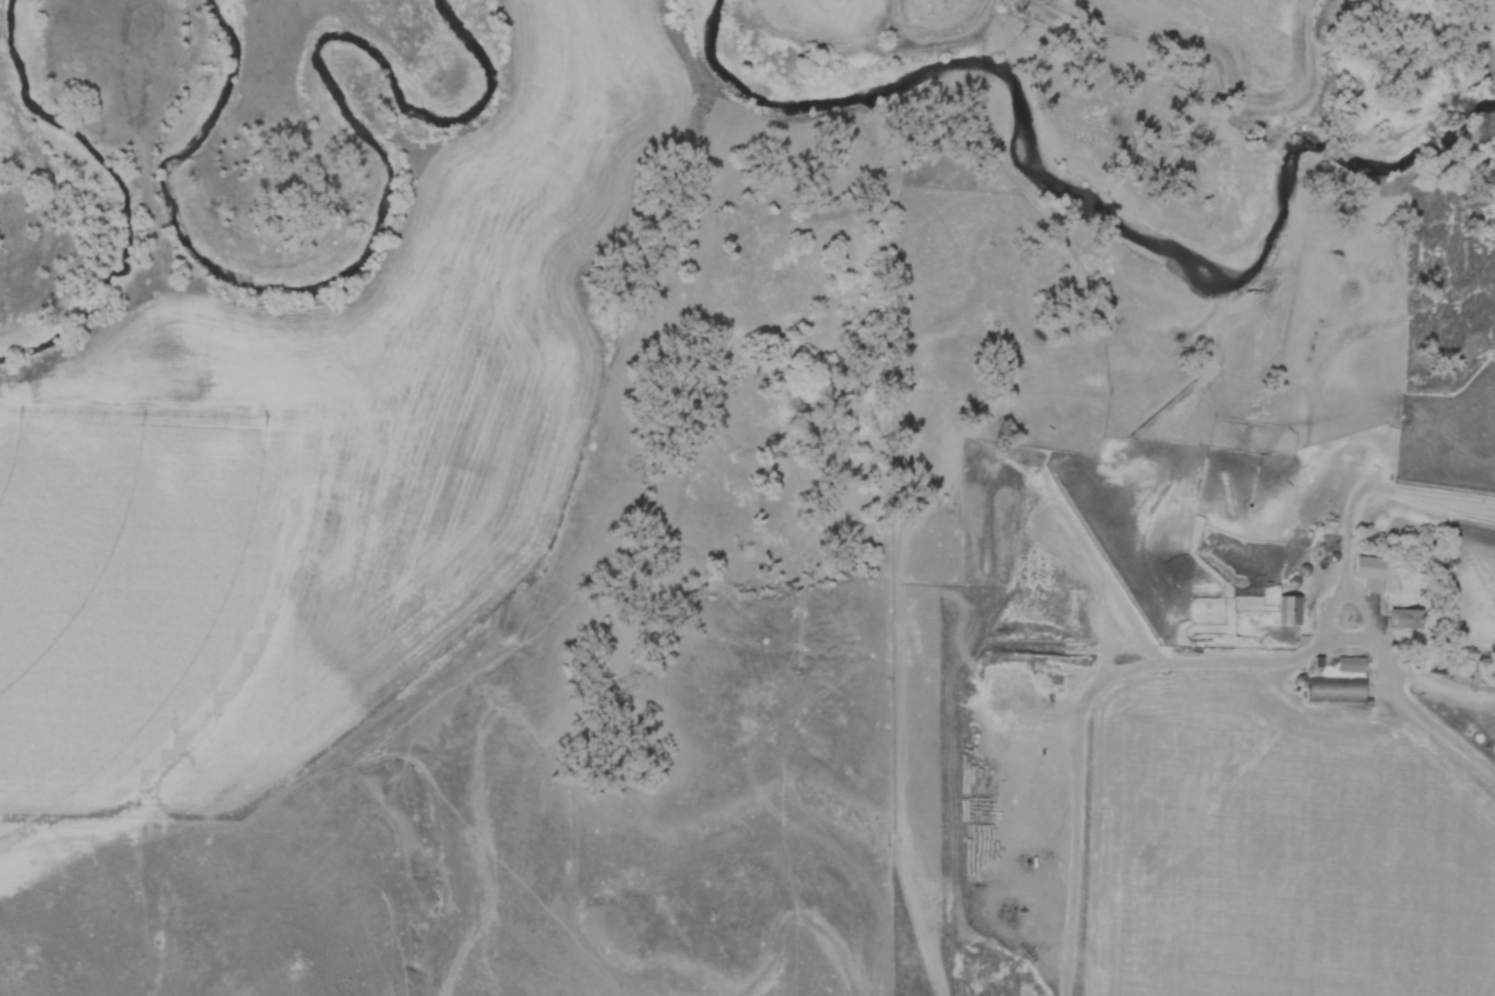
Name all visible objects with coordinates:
building: (1363, 564)
road: (1351, 591)
building: (1290, 612)
building: (1406, 620)
road: (1172, 662)
building: (1352, 666)
building: (1333, 691)

